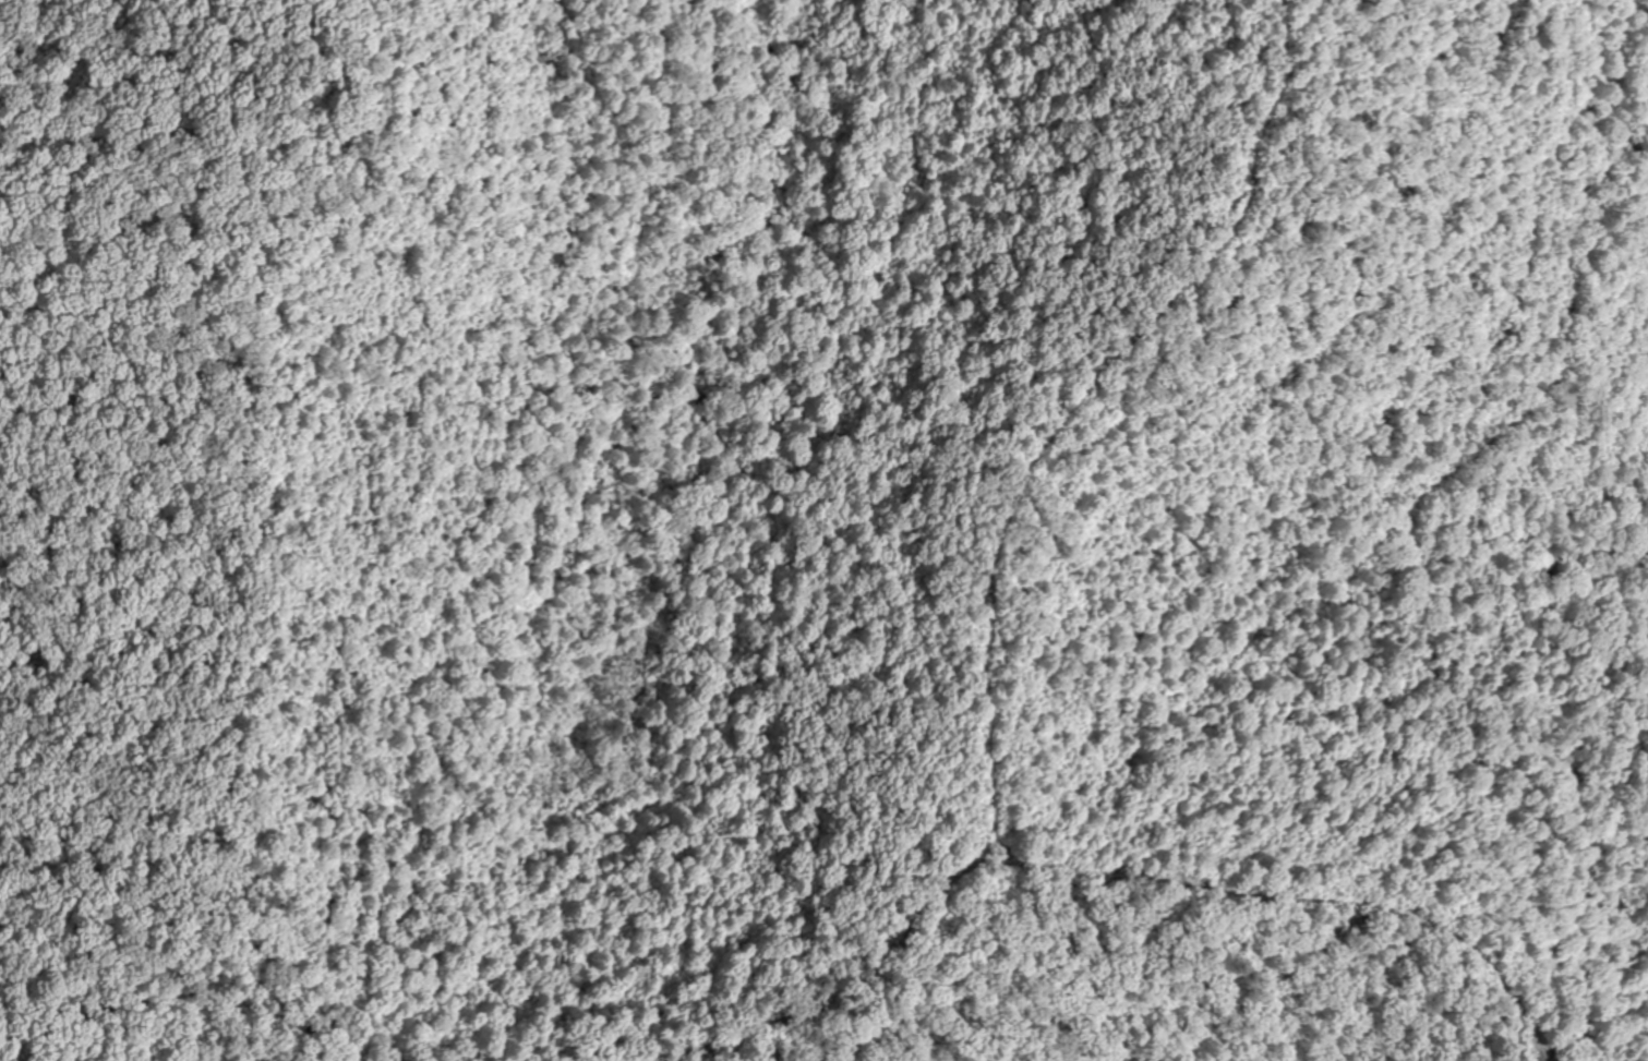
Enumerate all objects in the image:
road: (837, 950)

